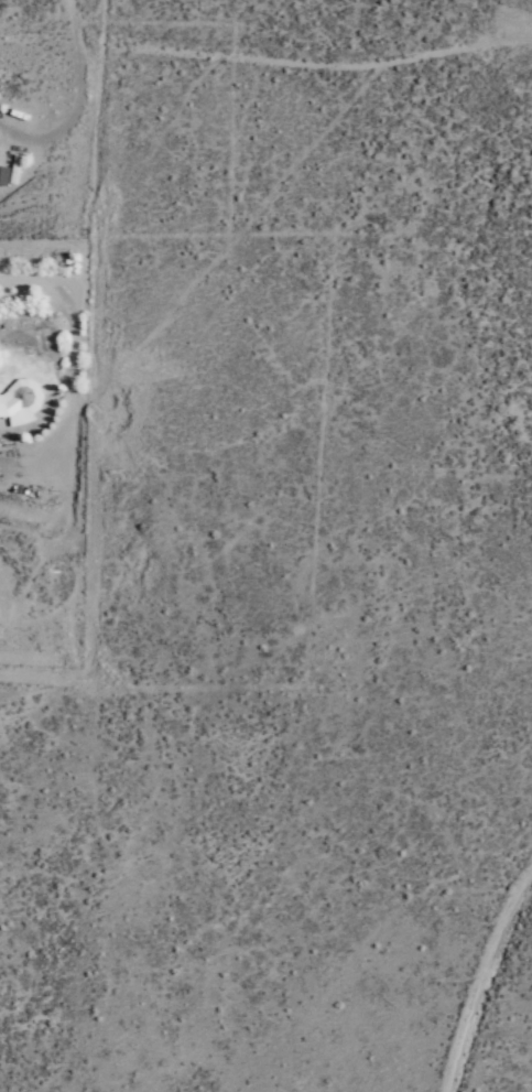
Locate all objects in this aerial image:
road: (267, 55)
building: (2, 174)
building: (20, 400)

